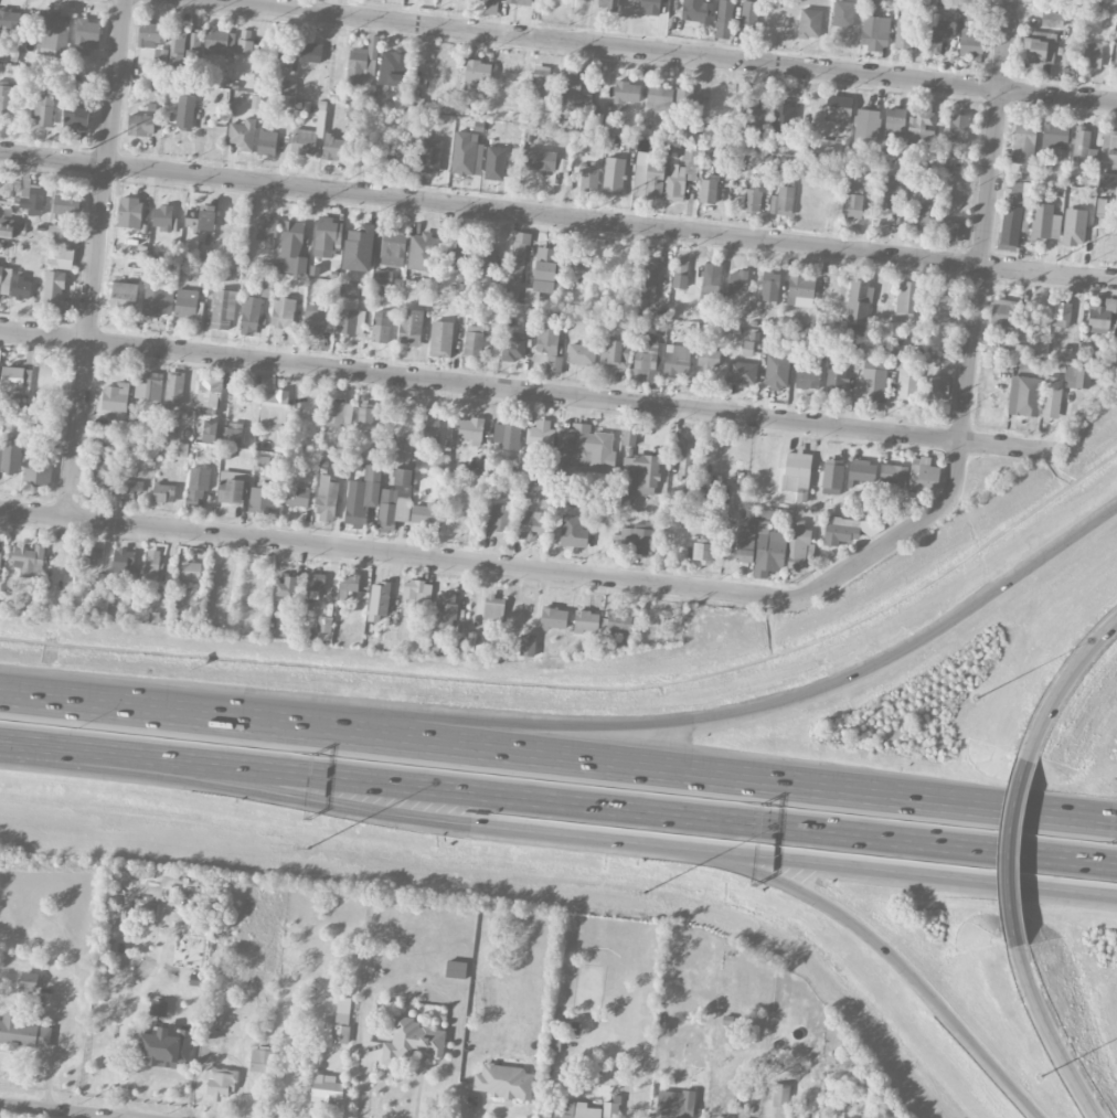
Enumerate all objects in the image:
building: (491, 0)
building: (520, 1)
building: (608, 4)
building: (650, 6)
building: (696, 11)
building: (843, 13)
building: (748, 15)
building: (724, 19)
building: (1052, 19)
building: (809, 23)
building: (10, 24)
building: (51, 29)
building: (87, 32)
building: (874, 32)
building: (904, 33)
building: (152, 34)
building: (938, 34)
building: (220, 42)
building: (970, 44)
building: (245, 46)
building: (1042, 46)
building: (178, 49)
building: (280, 49)
road: (673, 51)
building: (311, 52)
building: (1091, 53)
building: (161, 55)
building: (1116, 55)
building: (363, 60)
building: (393, 67)
building: (476, 73)
building: (541, 81)
building: (288, 88)
building: (576, 90)
building: (627, 92)
building: (659, 97)
building: (6, 98)
building: (688, 99)
building: (839, 108)
building: (44, 110)
building: (185, 113)
building: (748, 113)
building: (76, 118)
building: (895, 120)
building: (919, 121)
building: (141, 124)
building: (866, 125)
building: (958, 128)
building: (242, 134)
building: (1056, 140)
building: (304, 141)
building: (267, 142)
building: (1023, 142)
building: (1083, 146)
power tower: (92, 147)
building: (336, 147)
building: (1108, 148)
building: (467, 153)
building: (691, 153)
building: (542, 160)
building: (614, 174)
building: (588, 175)
power tower: (351, 177)
building: (648, 180)
building: (1106, 180)
building: (675, 182)
building: (0, 184)
building: (1018, 188)
building: (708, 190)
building: (890, 191)
building: (755, 192)
building: (32, 198)
building: (783, 201)
building: (854, 202)
building: (66, 204)
power tower: (598, 206)
building: (130, 212)
building: (163, 216)
road: (557, 216)
building: (202, 217)
building: (924, 217)
building: (1042, 221)
building: (1010, 224)
building: (1074, 226)
building: (267, 227)
building: (951, 230)
building: (60, 235)
building: (327, 235)
power tower: (873, 237)
building: (292, 247)
building: (359, 247)
building: (391, 247)
building: (423, 252)
building: (460, 254)
building: (62, 256)
building: (582, 257)
building: (487, 259)
power tower: (1057, 259)
building: (545, 263)
building: (680, 274)
building: (382, 277)
building: (648, 279)
building: (4, 280)
building: (737, 280)
building: (710, 281)
building: (770, 285)
building: (21, 287)
building: (800, 288)
building: (538, 289)
building: (56, 294)
building: (123, 297)
building: (906, 297)
building: (157, 298)
road: (91, 302)
building: (185, 302)
building: (859, 302)
building: (223, 309)
building: (944, 309)
building: (283, 312)
building: (1003, 312)
building: (1062, 313)
building: (251, 316)
building: (1100, 316)
building: (351, 318)
building: (318, 319)
building: (381, 327)
building: (411, 327)
building: (1115, 332)
road: (971, 337)
building: (442, 339)
building: (474, 340)
building: (514, 347)
building: (550, 347)
building: (898, 349)
building: (582, 353)
building: (614, 353)
building: (708, 356)
building: (648, 360)
building: (677, 360)
building: (777, 371)
building: (742, 372)
building: (837, 376)
building: (17, 380)
building: (873, 381)
building: (907, 383)
building: (149, 386)
building: (938, 387)
building: (174, 388)
road: (528, 391)
building: (209, 394)
building: (1023, 395)
building: (115, 397)
building: (1051, 402)
building: (273, 411)
building: (339, 412)
building: (365, 414)
building: (430, 424)
building: (469, 429)
building: (211, 430)
building: (233, 434)
building: (629, 434)
building: (507, 435)
building: (541, 437)
building: (585, 447)
building: (406, 448)
building: (10, 454)
building: (685, 457)
building: (440, 460)
road: (82, 461)
building: (105, 470)
building: (862, 470)
building: (39, 471)
building: (641, 472)
building: (923, 472)
building: (797, 473)
building: (893, 473)
building: (402, 476)
building: (832, 476)
building: (232, 487)
building: (131, 488)
building: (163, 492)
building: (296, 493)
building: (193, 496)
building: (362, 496)
building: (264, 498)
building: (572, 498)
building: (327, 499)
building: (390, 510)
building: (426, 513)
building: (499, 517)
building: (748, 518)
building: (531, 525)
building: (850, 530)
building: (573, 531)
building: (641, 536)
building: (798, 545)
building: (745, 546)
building: (768, 550)
building: (94, 552)
building: (702, 552)
road: (401, 554)
building: (0, 555)
building: (26, 560)
building: (124, 562)
building: (152, 565)
building: (190, 569)
building: (349, 583)
building: (313, 585)
building: (286, 587)
building: (417, 590)
building: (379, 600)
building: (494, 608)
building: (445, 610)
building: (325, 617)
building: (553, 618)
building: (586, 620)
building: (617, 621)
building: (528, 645)
road: (1065, 682)
road: (44, 703)
road: (630, 723)
road: (539, 756)
road: (557, 803)
road: (360, 809)
road: (1014, 811)
road: (1079, 819)
road: (1012, 853)
road: (919, 877)
road: (897, 961)
building: (456, 969)
building: (29, 978)
building: (158, 1008)
building: (340, 1028)
building: (22, 1031)
road: (1051, 1037)
building: (412, 1041)
building: (166, 1046)
building: (260, 1060)
building: (503, 1080)
building: (221, 1082)
road: (364, 1083)
building: (327, 1089)
building: (780, 1095)
building: (674, 1104)
building: (610, 1109)
building: (579, 1110)
road: (57, 1111)
building: (789, 1117)
building: (837, 1117)

